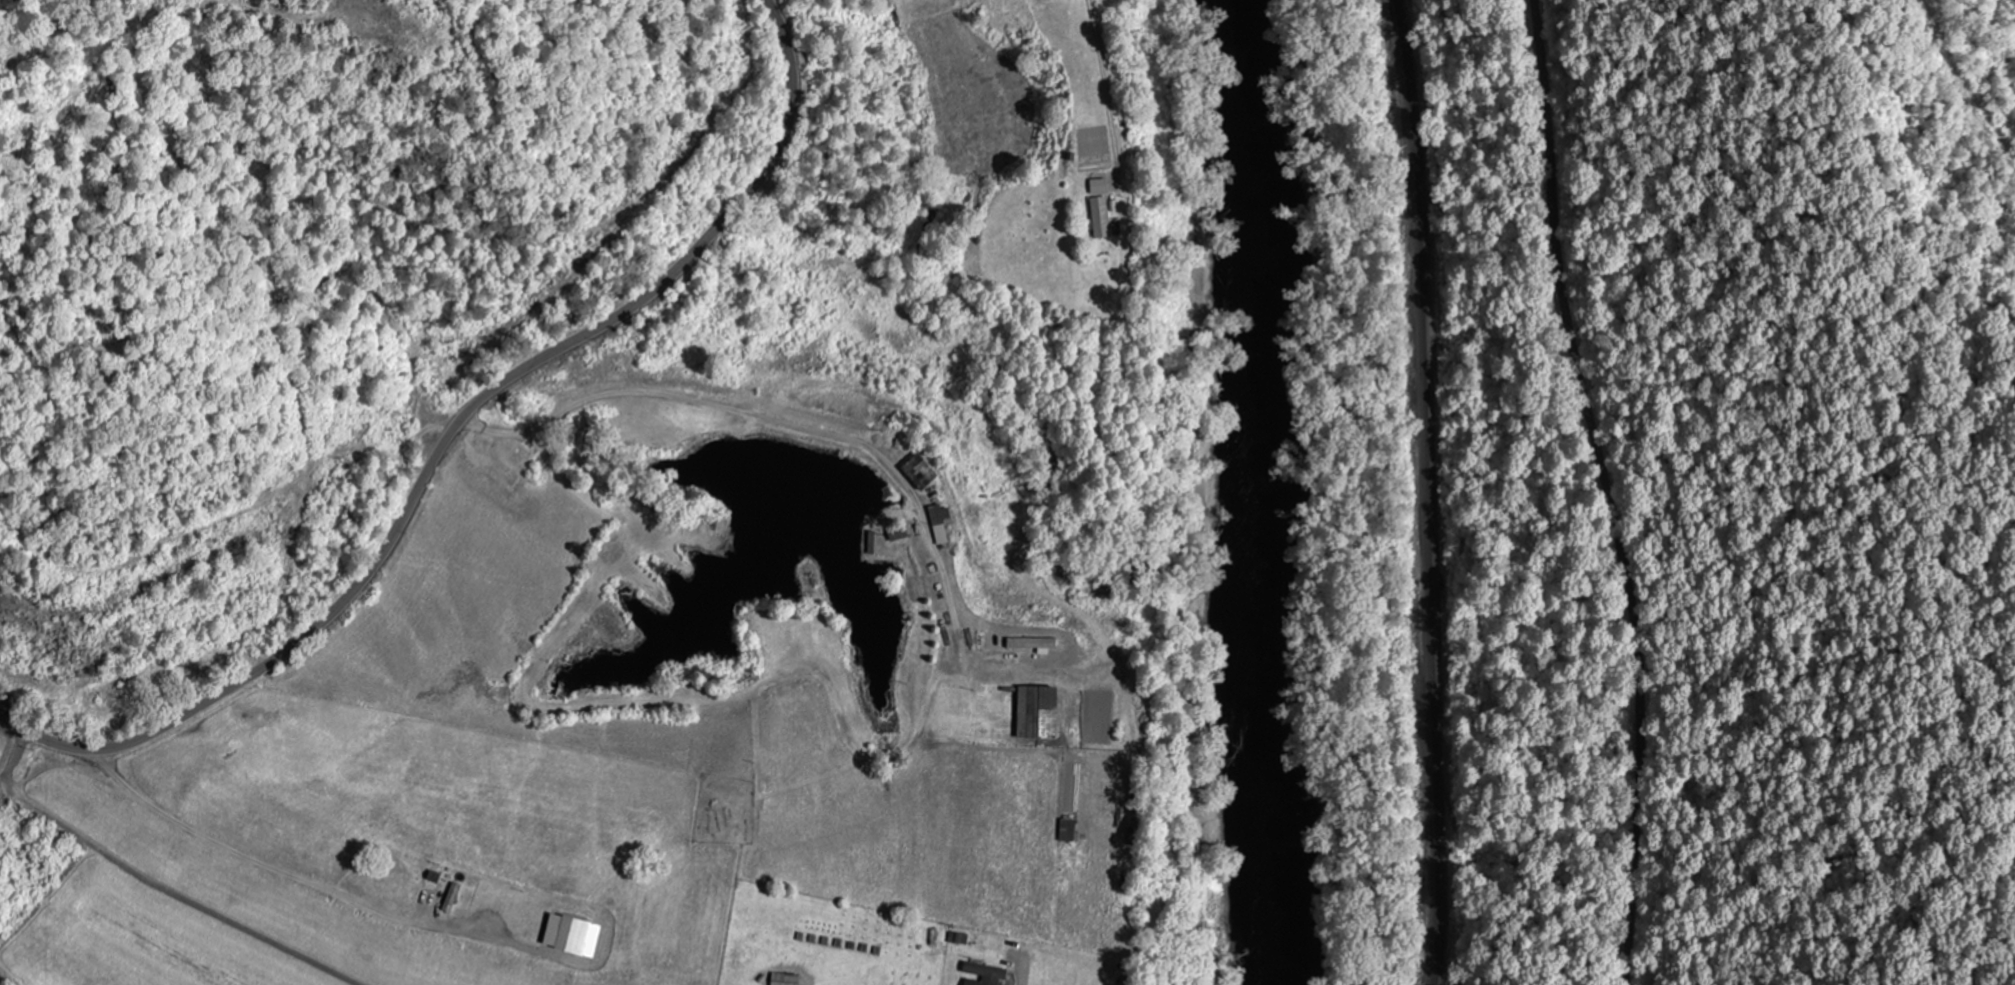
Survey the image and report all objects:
building: (1101, 217)
road: (452, 436)
building: (525, 455)
building: (920, 472)
river: (1263, 490)
road: (1605, 490)
railway: (1429, 491)
building: (940, 524)
building: (111, 695)
building: (1038, 713)
building: (1067, 830)
building: (419, 849)
road: (298, 873)
building: (407, 891)
building: (505, 897)
building: (574, 936)
building: (984, 975)

